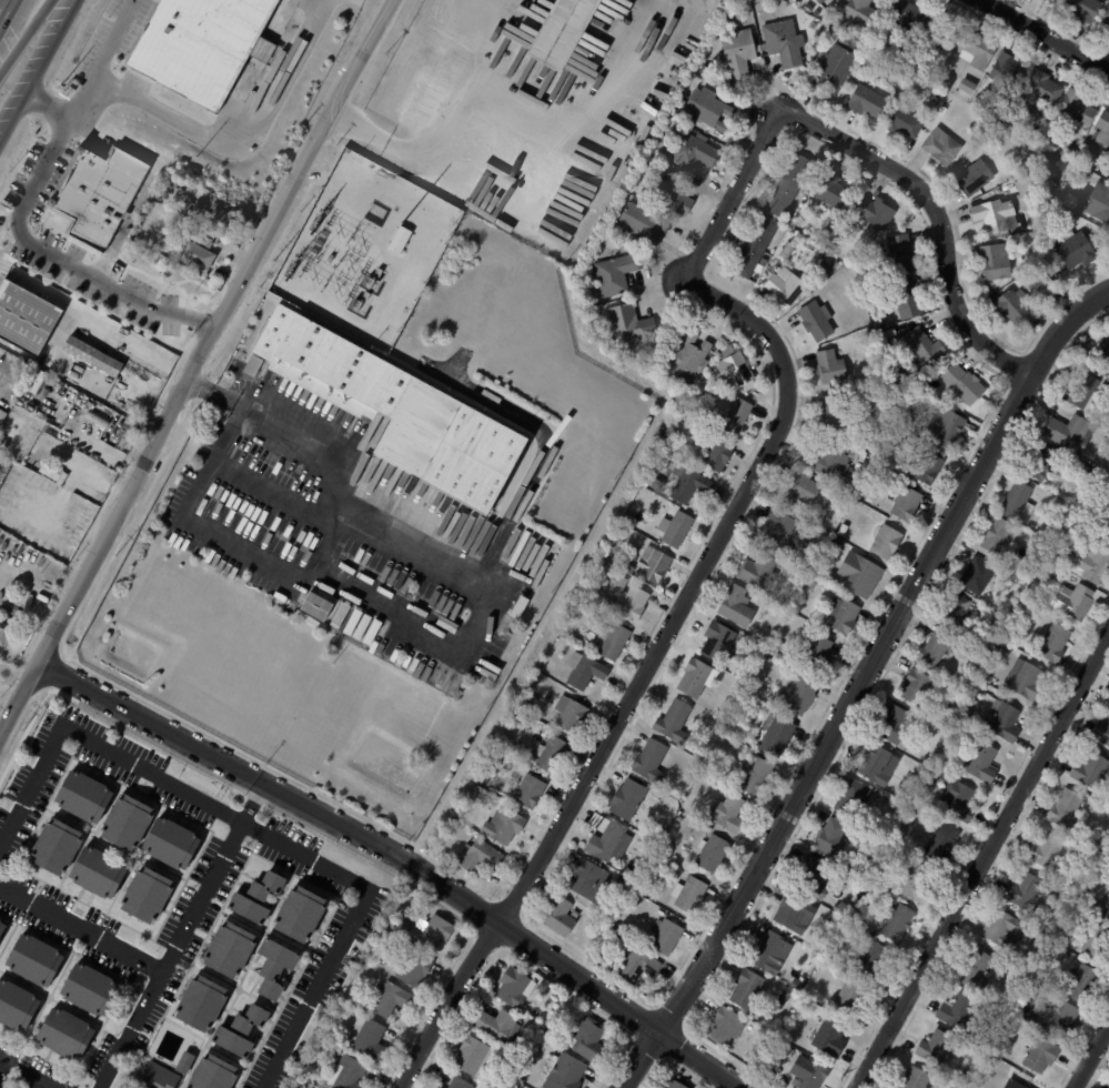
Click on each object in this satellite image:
building: (1049, 0)
building: (817, 1)
road: (3, 8)
road: (375, 8)
building: (807, 8)
building: (1081, 9)
building: (859, 12)
building: (816, 13)
building: (904, 14)
building: (1105, 16)
building: (840, 21)
building: (557, 31)
building: (937, 31)
building: (1107, 31)
road: (1047, 34)
road: (24, 36)
building: (782, 41)
building: (203, 47)
building: (976, 50)
building: (737, 52)
building: (915, 59)
road: (108, 61)
building: (834, 67)
road: (37, 69)
building: (1005, 72)
building: (891, 81)
building: (965, 85)
building: (1038, 91)
building: (864, 100)
road: (48, 105)
building: (704, 107)
building: (942, 109)
building: (1075, 109)
building: (901, 120)
road: (456, 124)
building: (1103, 128)
building: (1034, 132)
building: (997, 133)
road: (243, 134)
building: (1053, 144)
building: (940, 147)
building: (1069, 149)
building: (687, 150)
building: (1058, 164)
building: (972, 177)
building: (1108, 179)
building: (787, 184)
building: (1025, 184)
building: (829, 191)
building: (101, 192)
building: (668, 192)
building: (198, 193)
building: (1050, 193)
road: (734, 194)
building: (1098, 200)
building: (184, 205)
building: (873, 212)
road: (940, 212)
building: (994, 214)
building: (221, 215)
building: (638, 222)
building: (821, 236)
building: (196, 240)
building: (400, 240)
building: (755, 246)
building: (1075, 249)
power substation: (365, 250)
building: (787, 251)
building: (899, 252)
road: (63, 253)
building: (193, 255)
building: (994, 261)
building: (826, 266)
building: (614, 273)
building: (784, 288)
building: (907, 298)
building: (1050, 298)
building: (1011, 304)
building: (26, 319)
building: (815, 320)
building: (628, 323)
building: (888, 332)
building: (1103, 344)
building: (923, 345)
building: (90, 355)
building: (871, 355)
building: (685, 357)
building: (654, 361)
building: (250, 365)
building: (829, 366)
building: (734, 369)
building: (895, 375)
road: (200, 377)
building: (961, 383)
building: (1083, 394)
building: (860, 397)
building: (401, 409)
building: (829, 413)
building: (734, 416)
building: (97, 417)
road: (52, 426)
building: (945, 429)
building: (1067, 432)
building: (128, 434)
building: (894, 443)
building: (714, 453)
building: (856, 455)
road: (129, 460)
building: (826, 462)
building: (1040, 464)
building: (927, 467)
building: (876, 471)
building: (653, 484)
building: (686, 484)
building: (803, 488)
building: (1016, 501)
building: (905, 505)
building: (1105, 527)
building: (673, 528)
building: (841, 530)
building: (778, 532)
building: (994, 535)
building: (884, 542)
building: (805, 544)
building: (62, 552)
building: (1068, 553)
building: (652, 565)
building: (1093, 565)
building: (628, 570)
building: (755, 571)
building: (1056, 572)
building: (857, 574)
building: (611, 575)
building: (978, 576)
building: (619, 582)
building: (810, 585)
building: (786, 600)
building: (1076, 601)
building: (317, 603)
building: (629, 603)
building: (734, 606)
building: (520, 607)
building: (956, 615)
building: (839, 616)
building: (991, 617)
building: (988, 626)
building: (4, 634)
building: (611, 642)
building: (716, 642)
building: (1052, 643)
building: (777, 645)
road: (464, 647)
building: (932, 647)
building: (816, 654)
building: (767, 657)
building: (584, 673)
road: (642, 675)
building: (693, 677)
building: (1024, 681)
road: (859, 682)
building: (917, 691)
building: (798, 696)
building: (972, 702)
building: (526, 706)
building: (568, 714)
building: (672, 721)
building: (1001, 721)
building: (890, 725)
building: (1100, 734)
building: (774, 735)
road: (90, 742)
building: (507, 747)
building: (548, 755)
building: (648, 760)
building: (876, 764)
building: (978, 765)
building: (1090, 770)
building: (755, 777)
building: (527, 792)
building: (900, 793)
building: (87, 796)
building: (625, 799)
building: (854, 799)
building: (958, 802)
building: (1065, 809)
building: (725, 814)
building: (678, 818)
building: (129, 823)
building: (501, 826)
building: (659, 835)
building: (828, 839)
building: (173, 843)
building: (607, 843)
building: (939, 846)
building: (59, 848)
building: (1045, 852)
building: (710, 854)
building: (475, 857)
road: (405, 860)
road: (982, 862)
building: (101, 872)
building: (816, 878)
building: (585, 879)
building: (647, 883)
building: (909, 886)
building: (1024, 891)
building: (152, 894)
building: (687, 894)
building: (262, 898)
building: (635, 900)
building: (1106, 909)
building: (792, 913)
building: (304, 914)
building: (574, 915)
building: (556, 917)
building: (895, 923)
road: (353, 925)
building: (406, 926)
building: (2, 927)
building: (999, 928)
road: (81, 929)
building: (826, 931)
building: (434, 933)
building: (1040, 936)
building: (664, 937)
building: (1098, 943)
building: (234, 949)
building: (766, 953)
road: (171, 956)
building: (38, 959)
building: (869, 961)
building: (279, 966)
building: (636, 966)
building: (419, 968)
building: (974, 970)
building: (1080, 985)
building: (796, 986)
building: (516, 987)
building: (93, 988)
building: (746, 989)
building: (846, 998)
building: (393, 999)
building: (779, 1003)
building: (205, 1004)
building: (18, 1005)
building: (957, 1013)
building: (1021, 1013)
building: (1060, 1019)
building: (501, 1024)
building: (723, 1027)
building: (555, 1029)
building: (69, 1031)
building: (245, 1031)
building: (371, 1038)
building: (593, 1038)
building: (828, 1039)
building: (978, 1041)
building: (326, 1042)
building: (780, 1048)
building: (934, 1050)
building: (998, 1050)
building: (474, 1055)
building: (1039, 1056)
road: (1090, 1056)
building: (964, 1058)
building: (190, 1062)
building: (568, 1071)
building: (351, 1072)
road: (24, 1074)
building: (216, 1074)
building: (807, 1074)
building: (161, 1076)
building: (914, 1079)
building: (460, 1082)
building: (673, 1085)
building: (1011, 1085)
building: (440, 1087)

